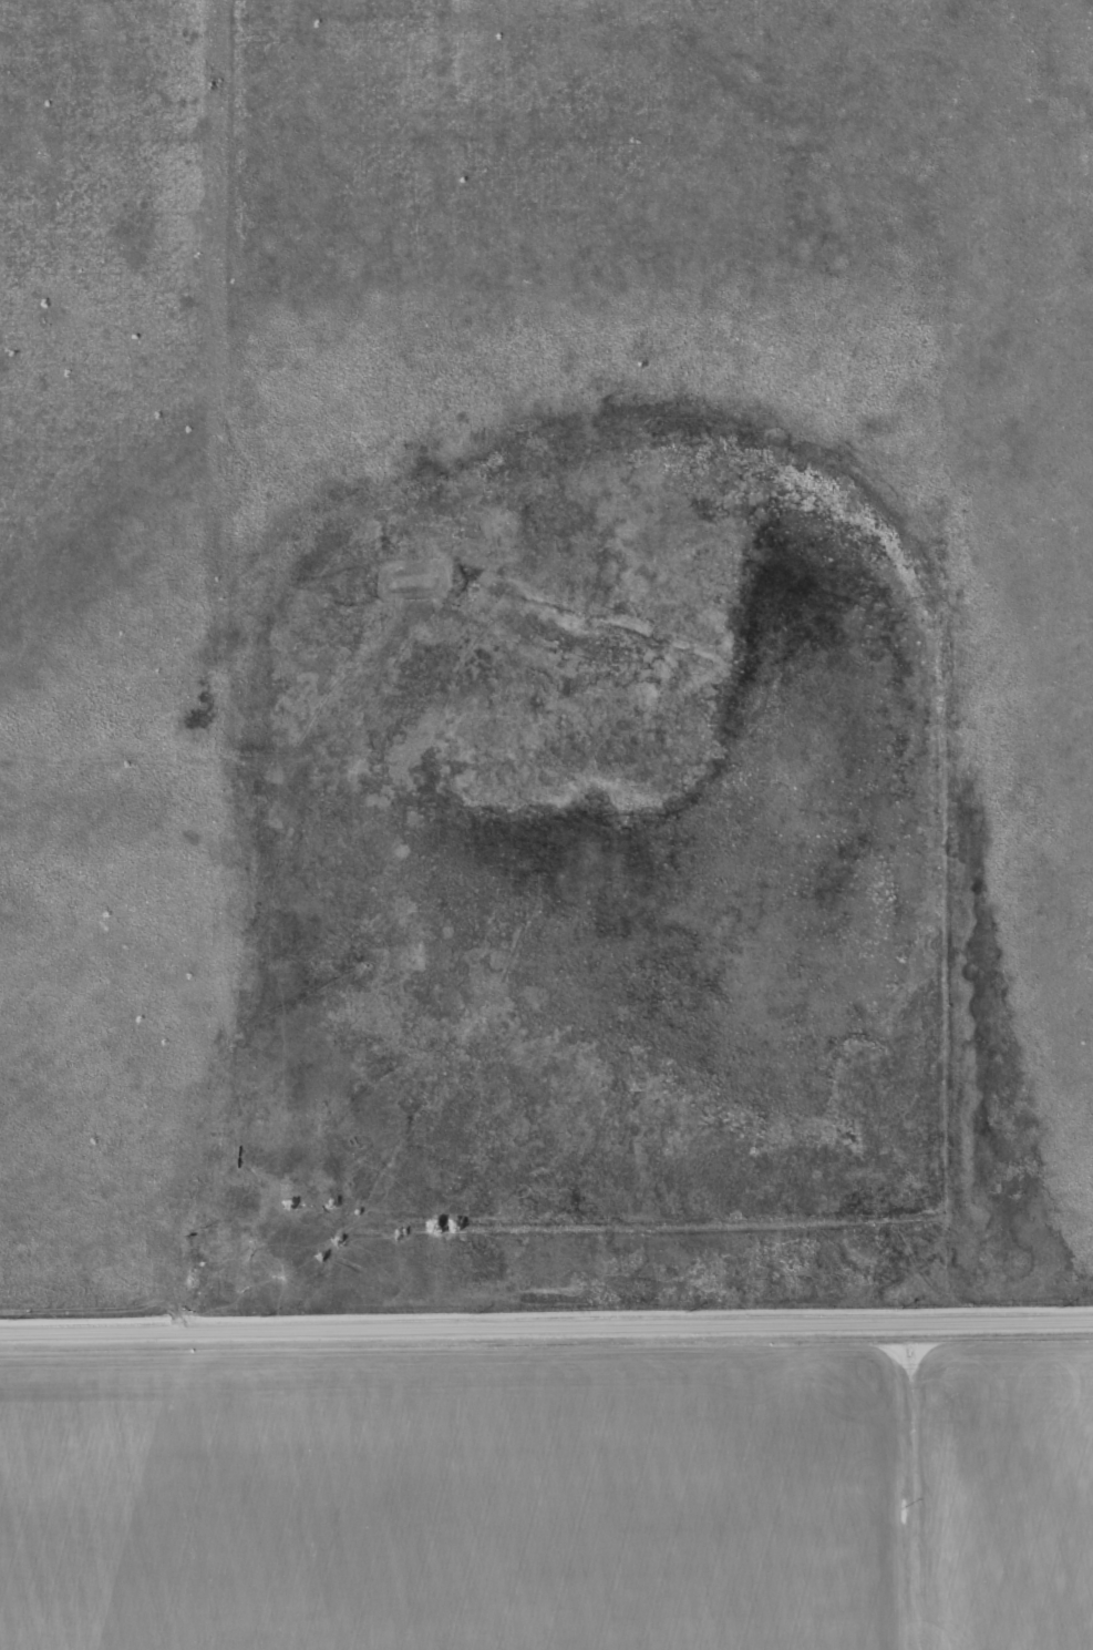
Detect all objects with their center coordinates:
road: (546, 1332)

